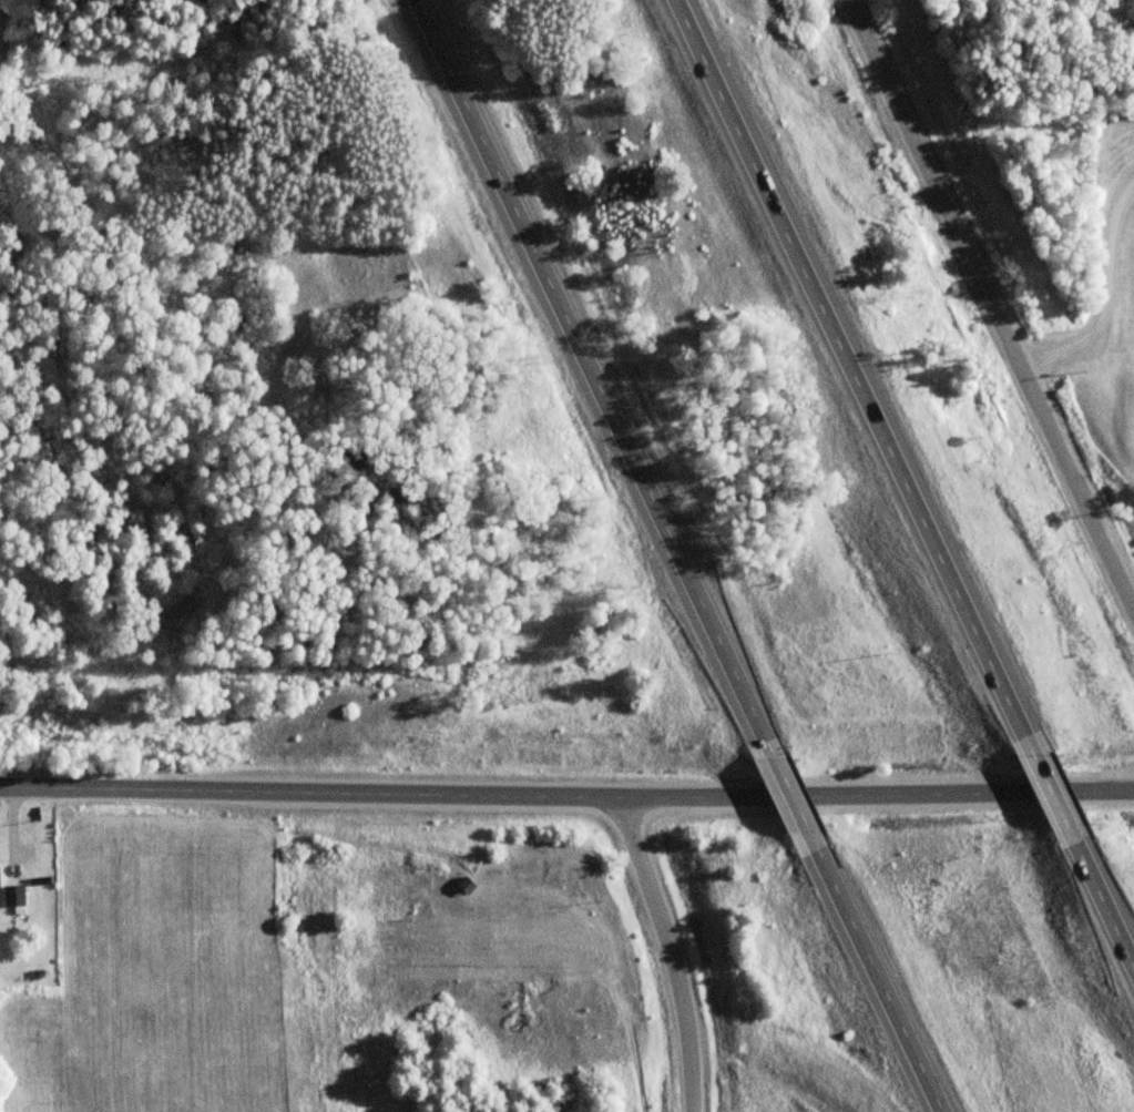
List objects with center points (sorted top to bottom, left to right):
road: (994, 298)
road: (865, 374)
road: (606, 377)
road: (1059, 785)
road: (795, 796)
road: (566, 798)
road: (1105, 884)
building: (11, 896)
road: (668, 953)
road: (879, 972)

